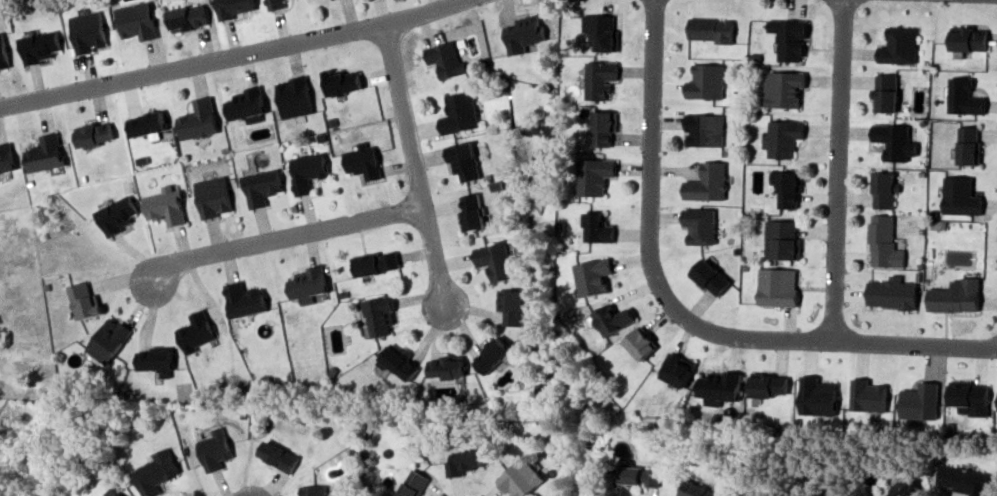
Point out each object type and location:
building: (274, 4)
building: (232, 8)
building: (187, 17)
building: (137, 21)
building: (710, 29)
building: (88, 31)
building: (602, 31)
building: (523, 33)
building: (789, 38)
building: (968, 38)
building: (899, 45)
building: (39, 46)
building: (3, 52)
road: (230, 56)
building: (445, 59)
building: (600, 79)
building: (341, 81)
building: (706, 81)
building: (783, 88)
building: (885, 92)
building: (963, 96)
building: (294, 97)
building: (246, 105)
building: (459, 113)
building: (198, 120)
building: (146, 125)
building: (603, 127)
building: (704, 129)
building: (93, 134)
building: (783, 137)
building: (892, 140)
building: (968, 145)
building: (45, 153)
building: (6, 158)
building: (463, 160)
road: (412, 162)
road: (836, 170)
building: (307, 171)
building: (594, 175)
building: (707, 182)
building: (261, 186)
building: (789, 188)
building: (883, 189)
building: (213, 196)
building: (960, 196)
building: (165, 205)
building: (471, 211)
building: (116, 215)
building: (700, 225)
building: (597, 227)
road: (283, 236)
building: (781, 240)
building: (883, 242)
building: (493, 260)
building: (376, 262)
building: (594, 276)
building: (710, 277)
building: (307, 284)
building: (777, 287)
building: (891, 294)
building: (955, 296)
building: (84, 300)
building: (244, 300)
building: (510, 306)
road: (680, 313)
building: (379, 315)
building: (612, 319)
building: (195, 332)
building: (108, 340)
building: (641, 343)
building: (491, 355)
building: (155, 361)
building: (398, 361)
building: (446, 367)
building: (677, 370)
building: (768, 385)
building: (719, 387)
building: (867, 395)
building: (817, 396)
building: (968, 397)
building: (919, 401)
building: (214, 449)
building: (278, 455)
building: (463, 461)
building: (154, 472)
building: (640, 475)
building: (518, 478)
building: (964, 479)
building: (412, 483)
building: (902, 487)
building: (312, 490)
building: (698, 490)
building: (110, 492)

